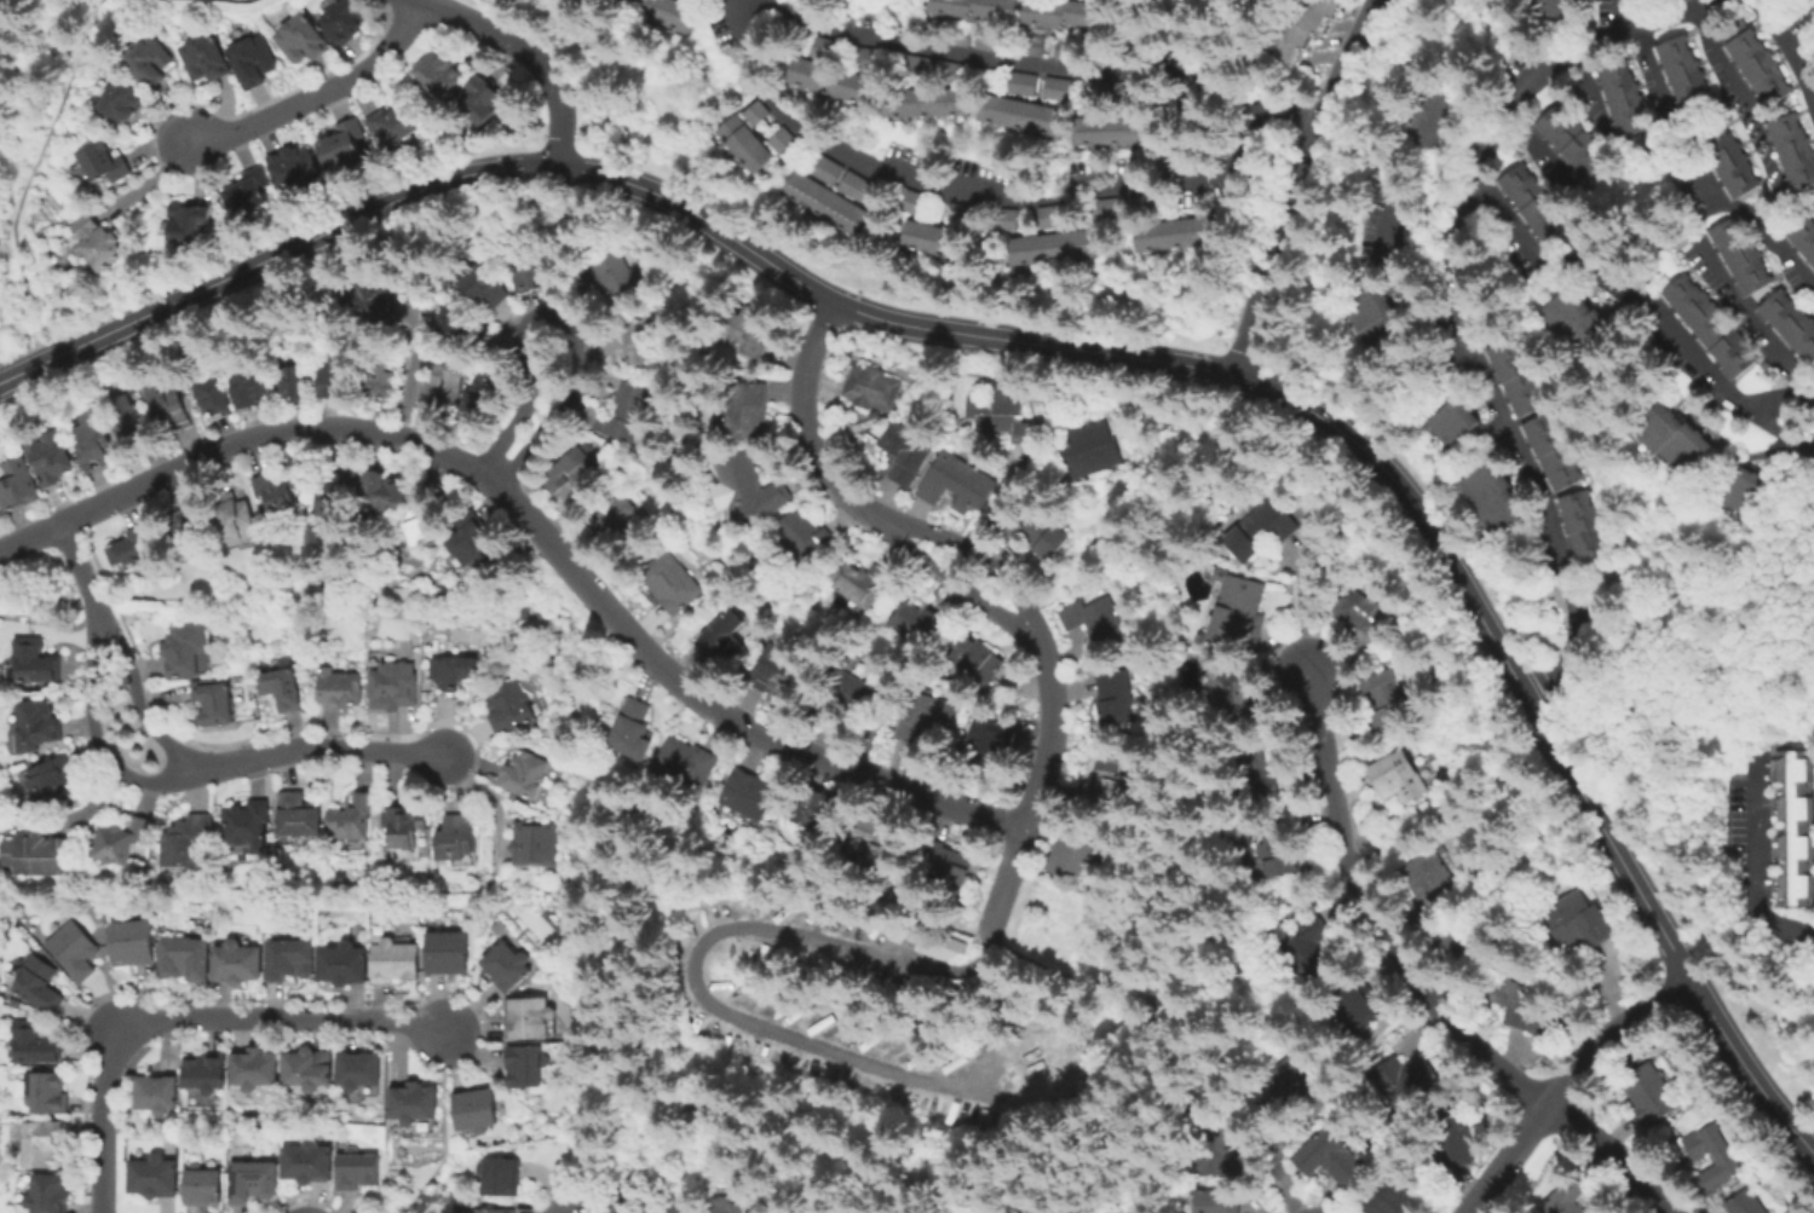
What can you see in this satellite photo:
road: (420, 0)
building: (974, 7)
building: (1547, 8)
building: (663, 12)
building: (1060, 12)
building: (345, 19)
building: (1312, 29)
building: (303, 37)
building: (1032, 45)
road: (1784, 46)
building: (820, 47)
road: (1240, 52)
road: (529, 54)
building: (207, 56)
building: (150, 58)
building: (254, 59)
building: (1752, 60)
road: (1043, 68)
building: (443, 73)
building: (1682, 75)
road: (1734, 76)
building: (829, 80)
building: (1021, 82)
road: (1586, 82)
building: (1055, 87)
road: (319, 96)
building: (485, 97)
building: (1620, 97)
building: (122, 102)
building: (925, 102)
building: (1017, 114)
building: (398, 121)
building: (1423, 123)
building: (1108, 131)
building: (751, 135)
building: (1567, 139)
building: (346, 143)
road: (1536, 145)
building: (1792, 151)
building: (1726, 160)
building: (106, 161)
building: (295, 164)
building: (825, 168)
road: (1695, 172)
road: (30, 178)
building: (853, 185)
road: (1298, 186)
road: (115, 189)
building: (250, 191)
road: (974, 196)
building: (1528, 201)
building: (824, 202)
building: (1105, 208)
building: (1050, 215)
building: (1006, 218)
building: (191, 220)
building: (1174, 233)
building: (926, 237)
building: (1802, 239)
building: (102, 241)
building: (1050, 246)
building: (1739, 256)
building: (534, 268)
building: (622, 275)
road: (1726, 282)
building: (482, 283)
building: (369, 299)
road: (1456, 302)
road: (1640, 308)
road: (560, 318)
building: (463, 320)
building: (1366, 322)
building: (1574, 322)
building: (1789, 325)
building: (1708, 327)
building: (749, 329)
building: (634, 341)
road: (1089, 351)
road: (17, 371)
building: (336, 376)
building: (1511, 379)
building: (380, 380)
building: (294, 381)
building: (444, 385)
building: (876, 387)
building: (250, 389)
building: (215, 397)
building: (483, 397)
building: (169, 405)
building: (749, 410)
building: (628, 412)
building: (1001, 412)
building: (876, 415)
building: (129, 416)
building: (1445, 423)
road: (808, 432)
building: (1666, 440)
building: (96, 441)
building: (1094, 449)
building: (909, 452)
building: (1548, 454)
building: (51, 457)
building: (583, 469)
road: (1033, 473)
building: (958, 483)
building: (19, 485)
building: (753, 487)
building: (384, 490)
building: (278, 491)
building: (336, 492)
building: (1740, 493)
road: (998, 501)
building: (1485, 501)
building: (237, 519)
building: (624, 520)
road: (534, 527)
building: (425, 530)
building: (1256, 531)
building: (1579, 531)
building: (1038, 532)
building: (189, 535)
building: (807, 536)
building: (474, 544)
building: (133, 545)
road: (978, 554)
road: (565, 572)
road: (82, 576)
building: (673, 580)
building: (863, 580)
road: (954, 583)
road: (305, 596)
road: (39, 599)
building: (526, 613)
building: (1234, 613)
building: (1355, 613)
building: (1094, 620)
building: (910, 622)
building: (724, 635)
building: (189, 649)
building: (975, 654)
building: (36, 660)
building: (785, 670)
building: (453, 674)
building: (396, 686)
building: (286, 688)
building: (341, 688)
building: (1227, 693)
building: (846, 694)
building: (1118, 698)
road: (136, 700)
building: (217, 700)
building: (1381, 703)
road: (581, 706)
building: (511, 707)
building: (926, 716)
road: (1697, 723)
building: (38, 724)
building: (638, 730)
road: (94, 739)
building: (987, 740)
road: (313, 747)
building: (691, 763)
building: (526, 774)
building: (1255, 774)
building: (1110, 775)
building: (53, 779)
building: (1390, 779)
road: (1038, 785)
building: (754, 793)
building: (817, 808)
road: (1446, 809)
building: (300, 816)
building: (355, 818)
building: (249, 824)
building: (407, 826)
building: (1792, 826)
building: (460, 838)
building: (125, 841)
building: (189, 842)
building: (881, 842)
building: (537, 844)
building: (1274, 848)
building: (41, 855)
building: (1073, 855)
building: (951, 861)
road: (1756, 863)
road: (783, 868)
road: (1347, 868)
building: (1427, 876)
road: (1369, 911)
building: (1574, 922)
building: (1464, 932)
road: (985, 938)
building: (134, 942)
building: (943, 946)
building: (1300, 947)
building: (75, 951)
building: (449, 953)
building: (188, 959)
building: (292, 960)
building: (397, 961)
building: (238, 963)
building: (346, 964)
building: (508, 967)
road: (691, 972)
road: (1079, 982)
building: (39, 984)
road: (1167, 997)
building: (1351, 1001)
building: (16, 1003)
building: (1520, 1007)
road: (191, 1018)
building: (531, 1020)
road: (629, 1027)
building: (35, 1044)
building: (526, 1067)
building: (257, 1069)
building: (311, 1069)
building: (361, 1070)
building: (207, 1073)
road: (1559, 1080)
building: (1290, 1081)
building: (1399, 1082)
building: (1646, 1093)
building: (50, 1094)
building: (159, 1094)
building: (416, 1103)
building: (478, 1109)
road: (443, 1128)
building: (1449, 1136)
building: (40, 1143)
building: (1214, 1150)
road: (1611, 1153)
building: (1321, 1157)
building: (1723, 1159)
road: (1275, 1160)
building: (311, 1163)
building: (358, 1171)
building: (156, 1178)
building: (502, 1178)
building: (255, 1183)
building: (205, 1186)
building: (1566, 1194)
building: (47, 1195)
building: (1390, 1198)
building: (1211, 1201)
building: (1743, 1202)
building: (629, 1203)
building: (675, 1205)
building: (726, 1206)
building: (1603, 1206)
building: (500, 1211)
building: (843, 1212)

